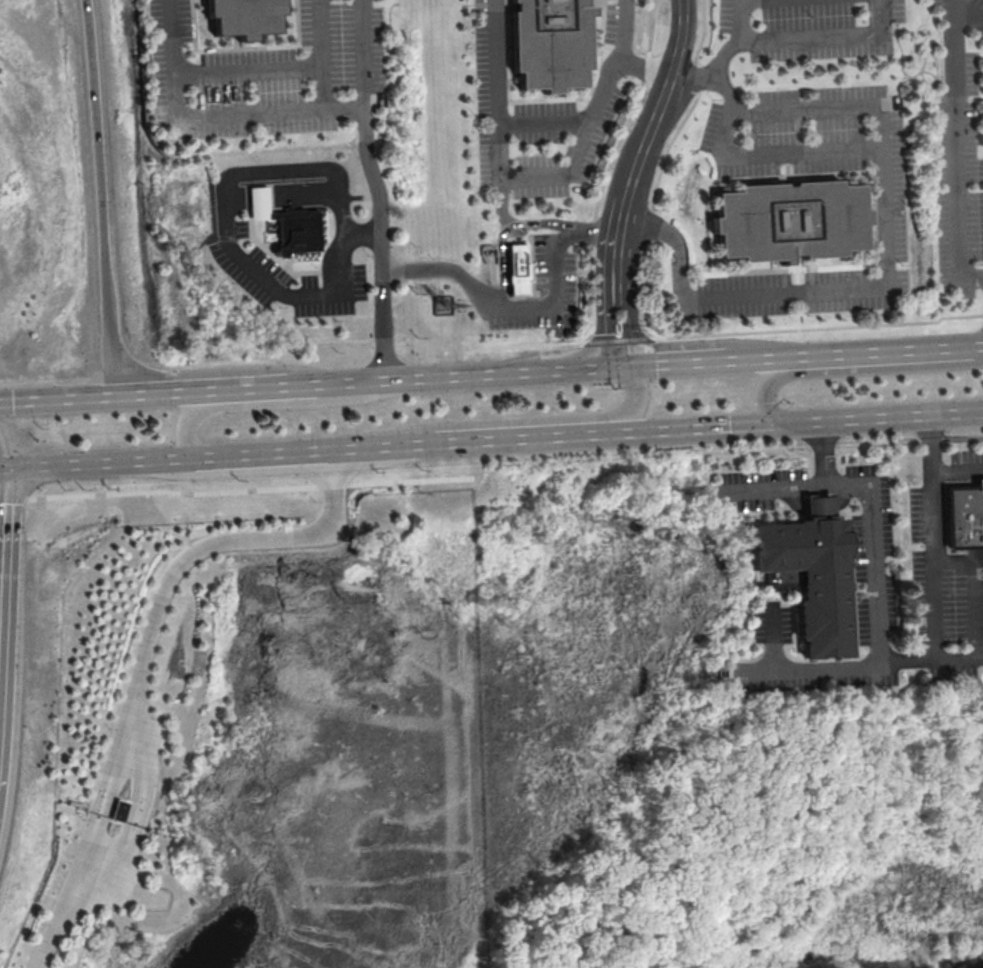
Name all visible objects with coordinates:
road: (970, 11)
building: (234, 17)
road: (920, 28)
road: (804, 37)
building: (541, 44)
road: (909, 54)
road: (319, 55)
road: (360, 55)
road: (901, 66)
road: (244, 69)
road: (643, 69)
road: (710, 70)
road: (931, 72)
road: (923, 83)
road: (894, 88)
road: (928, 93)
road: (340, 111)
road: (186, 118)
road: (542, 125)
road: (647, 138)
parking lot: (960, 147)
road: (956, 149)
road: (774, 154)
road: (536, 173)
road: (103, 196)
road: (499, 202)
road: (225, 221)
building: (783, 223)
building: (285, 228)
road: (503, 230)
road: (600, 230)
road: (363, 232)
road: (382, 242)
road: (887, 259)
road: (450, 268)
building: (518, 268)
parking lot: (548, 284)
road: (559, 289)
power tower: (444, 308)
road: (631, 319)
road: (605, 320)
road: (728, 332)
road: (977, 344)
road: (940, 346)
road: (881, 349)
road: (819, 353)
road: (757, 356)
road: (682, 361)
road: (622, 364)
traffic signals: (635, 364)
traffic signals: (609, 365)
road: (852, 369)
road: (454, 373)
road: (258, 385)
road: (165, 391)
road: (58, 397)
road: (267, 403)
road: (881, 418)
road: (525, 420)
traffic signals: (780, 424)
road: (696, 429)
road: (585, 435)
road: (492, 441)
road: (378, 447)
road: (841, 449)
road: (4, 454)
road: (263, 454)
road: (98, 463)
traffic signals: (9, 469)
road: (957, 469)
road: (773, 485)
road: (240, 489)
building: (963, 517)
road: (872, 518)
road: (933, 537)
road: (227, 539)
road: (4, 562)
building: (803, 580)
road: (975, 588)
road: (773, 637)
road: (860, 665)
road: (116, 741)
road: (147, 749)
road: (116, 766)
road: (140, 781)
building: (119, 809)
road: (88, 863)
road: (111, 865)
road: (72, 874)
road: (106, 890)
road: (139, 891)
road: (40, 952)

